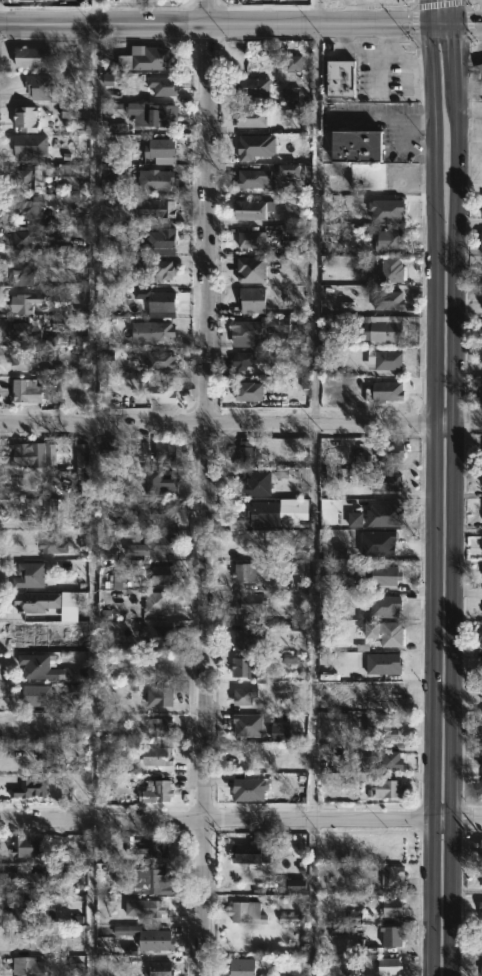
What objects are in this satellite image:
building: (29, 0)
building: (117, 0)
building: (117, 1)
road: (437, 3)
road: (466, 3)
road: (316, 12)
road: (468, 23)
road: (411, 24)
road: (241, 25)
traffic signals: (426, 25)
traffic signals: (450, 25)
road: (441, 41)
building: (35, 57)
building: (153, 59)
building: (293, 65)
building: (478, 69)
building: (361, 77)
building: (336, 79)
building: (161, 85)
building: (41, 86)
building: (251, 87)
building: (158, 115)
building: (249, 118)
building: (25, 119)
building: (350, 146)
building: (27, 149)
building: (158, 152)
building: (68, 171)
building: (290, 172)
building: (27, 175)
building: (365, 175)
building: (151, 176)
building: (250, 179)
building: (30, 208)
building: (252, 209)
building: (153, 210)
road: (467, 213)
road: (318, 223)
road: (97, 224)
building: (161, 238)
building: (21, 239)
building: (391, 239)
building: (252, 240)
building: (480, 240)
building: (248, 269)
building: (391, 269)
building: (159, 270)
building: (21, 274)
building: (152, 298)
building: (250, 300)
building: (386, 301)
building: (27, 304)
building: (327, 323)
building: (275, 324)
building: (381, 329)
building: (27, 331)
building: (154, 332)
building: (246, 333)
building: (26, 360)
building: (246, 360)
building: (385, 360)
building: (163, 361)
building: (480, 361)
building: (481, 390)
building: (385, 391)
building: (28, 392)
building: (250, 392)
building: (163, 393)
road: (240, 423)
building: (114, 449)
building: (168, 449)
building: (145, 452)
building: (387, 452)
building: (243, 453)
building: (30, 455)
building: (82, 457)
building: (163, 479)
building: (481, 480)
building: (382, 482)
building: (255, 484)
road: (202, 487)
road: (429, 487)
road: (452, 487)
building: (47, 509)
building: (261, 512)
building: (161, 514)
building: (51, 544)
building: (146, 549)
building: (373, 571)
building: (242, 573)
building: (31, 576)
building: (163, 576)
building: (39, 602)
building: (158, 602)
building: (247, 603)
road: (316, 622)
building: (384, 631)
building: (478, 634)
building: (243, 637)
building: (480, 663)
building: (41, 667)
building: (241, 667)
building: (481, 668)
building: (478, 695)
building: (40, 696)
building: (162, 696)
building: (240, 696)
building: (245, 724)
building: (481, 724)
building: (162, 726)
building: (380, 727)
building: (160, 756)
building: (47, 759)
building: (385, 760)
building: (481, 779)
building: (34, 787)
building: (386, 788)
building: (481, 789)
building: (160, 791)
building: (479, 792)
road: (241, 822)
building: (29, 845)
building: (387, 847)
building: (479, 847)
building: (154, 848)
building: (249, 851)
building: (481, 869)
building: (67, 874)
building: (396, 877)
building: (30, 880)
building: (480, 881)
building: (153, 882)
road: (92, 899)
road: (312, 899)
building: (389, 906)
building: (142, 908)
building: (27, 909)
building: (479, 910)
building: (244, 912)
building: (128, 932)
building: (390, 935)
building: (33, 939)
building: (163, 940)
building: (478, 946)
building: (81, 949)
building: (386, 965)
building: (27, 966)
building: (239, 966)
building: (162, 968)
building: (480, 969)

